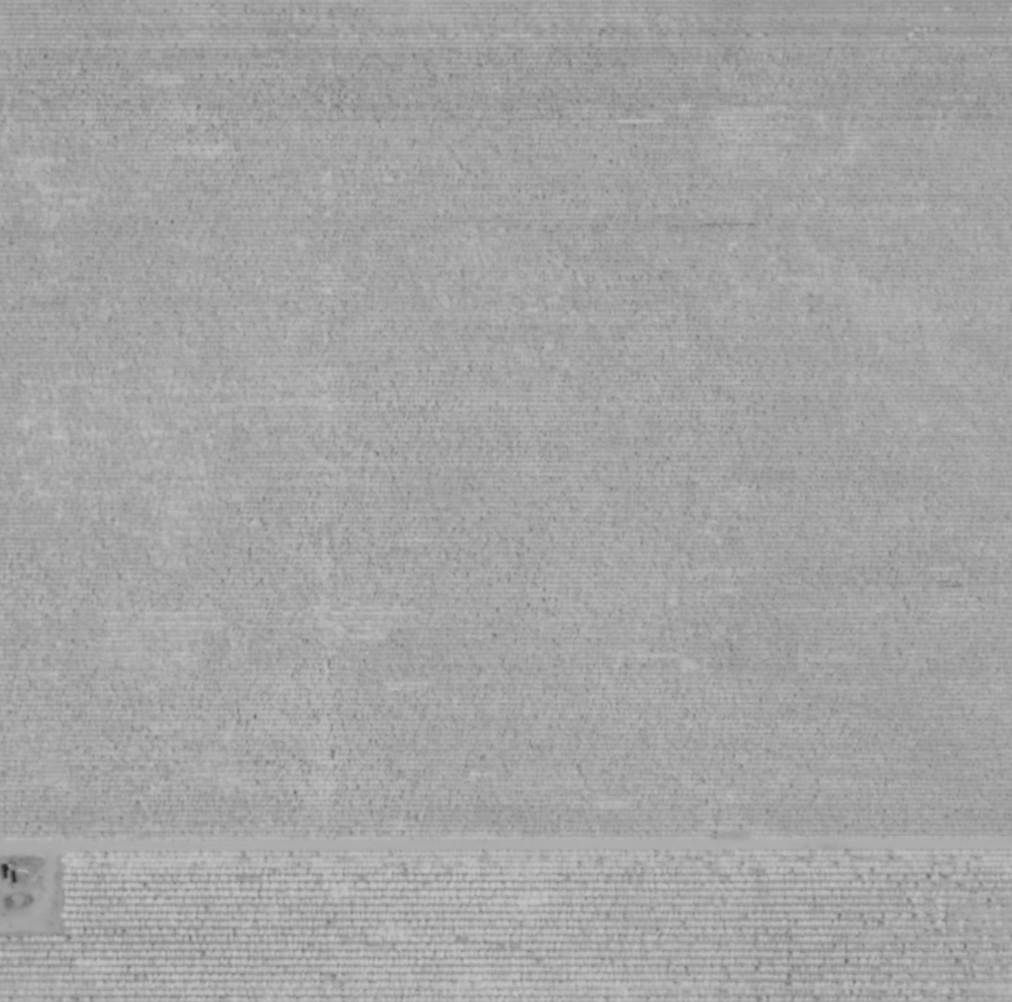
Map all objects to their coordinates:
road: (506, 849)
crop: (523, 929)

